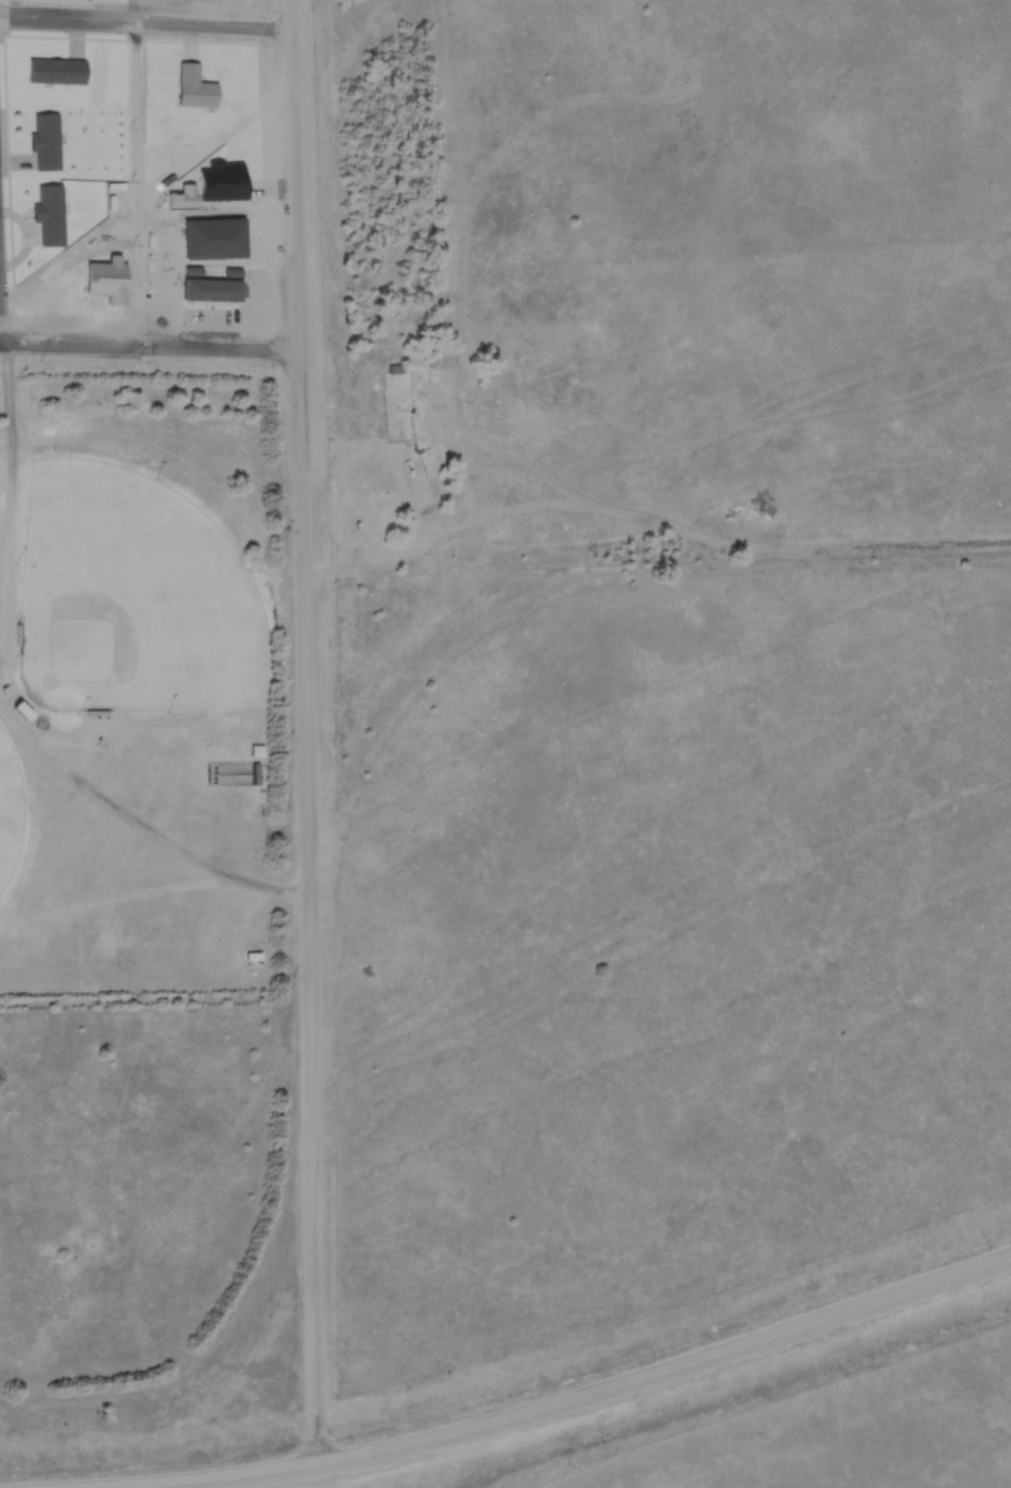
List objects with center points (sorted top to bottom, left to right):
road: (146, 22)
road: (130, 170)
road: (150, 342)
building: (397, 367)
park: (2, 488)
park: (137, 598)
road: (310, 733)
building: (235, 773)
park: (10, 806)
road: (140, 820)
road: (605, 1393)

